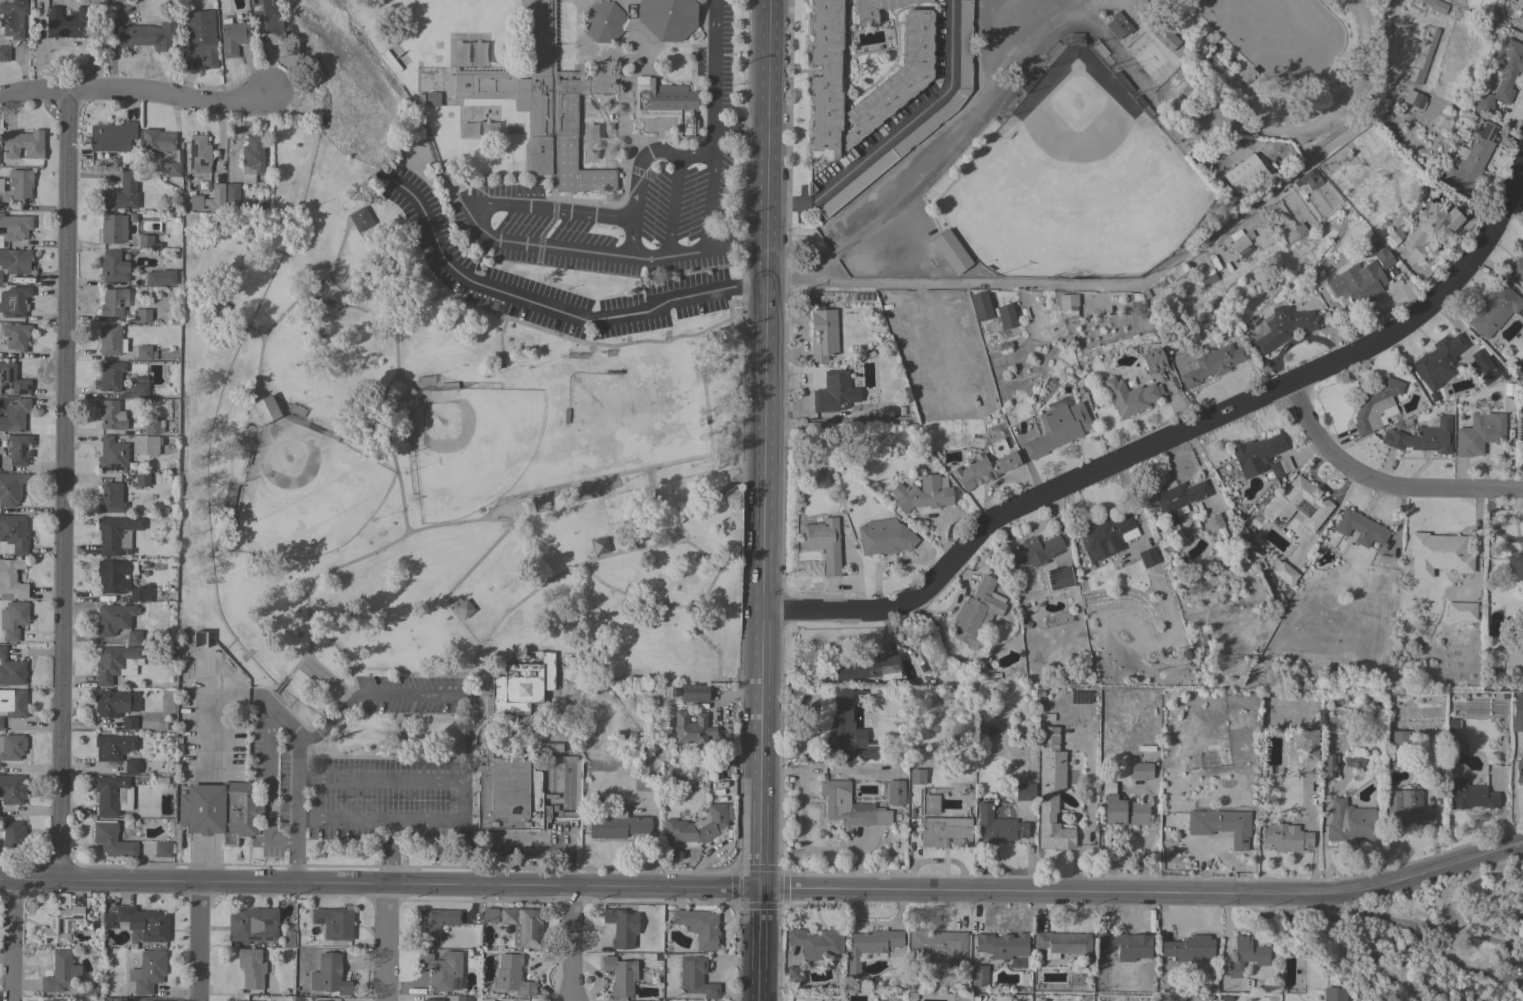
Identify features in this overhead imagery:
building: (1522, 0)
building: (1435, 5)
road: (1076, 13)
building: (866, 14)
building: (12, 19)
building: (639, 19)
building: (1522, 20)
building: (66, 23)
building: (265, 23)
building: (1118, 25)
building: (148, 36)
building: (201, 37)
building: (233, 38)
park: (1278, 38)
building: (1166, 39)
building: (1075, 40)
building: (4, 53)
building: (1425, 59)
road: (714, 63)
building: (1247, 74)
building: (1501, 77)
building: (825, 79)
building: (895, 79)
building: (1030, 80)
building: (1123, 82)
road: (134, 90)
building: (1192, 92)
building: (432, 99)
building: (1416, 100)
building: (545, 103)
building: (665, 104)
building: (949, 107)
road: (1236, 126)
road: (742, 127)
road: (897, 131)
building: (111, 136)
building: (157, 142)
building: (23, 144)
park: (1107, 144)
building: (197, 153)
building: (251, 158)
building: (1470, 159)
road: (939, 163)
building: (1340, 164)
building: (169, 169)
building: (1243, 173)
park: (1071, 176)
building: (1308, 179)
building: (20, 183)
building: (1, 185)
road: (709, 185)
building: (121, 194)
road: (1517, 195)
building: (216, 198)
building: (232, 198)
road: (481, 198)
building: (195, 201)
parking lot: (625, 202)
building: (359, 219)
building: (14, 227)
building: (113, 228)
building: (1429, 228)
building: (1390, 239)
building: (145, 241)
building: (1241, 242)
road: (737, 246)
building: (949, 252)
building: (15, 261)
building: (113, 267)
building: (1517, 268)
building: (1177, 272)
building: (1365, 276)
building: (0, 277)
building: (160, 278)
parking lot: (558, 278)
building: (1205, 278)
road: (429, 282)
road: (1099, 283)
building: (14, 301)
building: (113, 302)
road: (309, 304)
building: (1067, 305)
road: (351, 306)
road: (552, 310)
building: (991, 310)
building: (1494, 310)
building: (142, 316)
road: (727, 320)
building: (1283, 327)
road: (253, 332)
road: (262, 334)
building: (823, 334)
building: (16, 336)
building: (110, 340)
road: (660, 342)
road: (395, 347)
building: (145, 353)
building: (1152, 361)
building: (1438, 361)
building: (1212, 364)
building: (1485, 372)
building: (111, 376)
building: (12, 379)
building: (445, 386)
building: (135, 390)
building: (832, 392)
building: (1130, 396)
road: (396, 399)
building: (1375, 405)
building: (265, 409)
building: (15, 415)
building: (111, 415)
road: (378, 421)
building: (153, 427)
building: (408, 428)
building: (1057, 429)
building: (1484, 430)
building: (1520, 432)
building: (1422, 437)
road: (1170, 438)
park: (470, 444)
building: (151, 445)
building: (18, 449)
building: (111, 454)
building: (1255, 454)
park: (439, 459)
building: (1278, 468)
building: (981, 469)
building: (141, 479)
road: (1382, 482)
road: (63, 484)
building: (11, 488)
park: (304, 493)
building: (922, 493)
building: (583, 495)
building: (111, 498)
building: (1177, 499)
road: (766, 500)
building: (540, 502)
building: (1283, 502)
road: (487, 514)
building: (1215, 525)
road: (1491, 525)
building: (1360, 528)
building: (1103, 532)
building: (116, 534)
building: (13, 535)
building: (884, 537)
building: (822, 543)
building: (600, 545)
road: (655, 547)
road: (1475, 549)
building: (1033, 551)
building: (1438, 554)
building: (1147, 557)
building: (1515, 558)
building: (1284, 573)
road: (466, 574)
building: (111, 576)
building: (1058, 578)
building: (11, 580)
building: (140, 593)
building: (464, 608)
building: (1460, 611)
building: (975, 613)
building: (113, 618)
building: (12, 619)
road: (318, 631)
building: (134, 637)
road: (708, 645)
building: (110, 663)
building: (868, 668)
building: (11, 670)
road: (326, 670)
road: (291, 672)
building: (1381, 673)
building: (693, 693)
building: (1518, 697)
road: (374, 698)
building: (13, 703)
building: (115, 703)
road: (281, 715)
building: (1517, 716)
building: (1, 722)
building: (128, 723)
road: (311, 726)
building: (847, 729)
building: (692, 732)
building: (488, 736)
building: (1399, 737)
building: (1306, 743)
building: (11, 746)
building: (112, 747)
building: (548, 747)
building: (1353, 758)
building: (132, 766)
building: (1329, 766)
parking lot: (375, 769)
road: (269, 770)
road: (466, 771)
building: (1141, 771)
building: (1519, 771)
building: (916, 777)
road: (380, 781)
building: (12, 789)
building: (1024, 792)
building: (1051, 792)
building: (895, 793)
building: (112, 795)
building: (1470, 795)
building: (930, 804)
building: (849, 806)
road: (294, 807)
building: (219, 808)
building: (1122, 809)
building: (1405, 811)
road: (380, 819)
road: (1086, 821)
building: (1351, 823)
building: (1221, 825)
building: (617, 826)
building: (696, 826)
building: (996, 827)
road: (1313, 831)
building: (944, 832)
building: (13, 835)
building: (1286, 837)
building: (112, 840)
road: (282, 840)
building: (163, 849)
road: (389, 852)
road: (533, 852)
road: (765, 889)
building: (489, 915)
building: (333, 923)
building: (434, 923)
building: (139, 924)
building: (60, 925)
building: (252, 925)
building: (524, 926)
building: (621, 927)
building: (699, 927)
road: (1483, 937)
building: (288, 939)
road: (13, 940)
road: (199, 941)
road: (385, 943)
building: (816, 943)
road: (572, 944)
building: (1062, 944)
building: (1001, 945)
building: (1126, 945)
building: (869, 947)
building: (940, 947)
building: (1187, 948)
building: (1246, 956)
building: (251, 967)
building: (442, 970)
building: (149, 971)
building: (60, 972)
building: (328, 975)
building: (511, 975)
building: (620, 975)
building: (794, 975)
building: (979, 975)
building: (695, 977)
building: (90, 991)
building: (1333, 994)
building: (463, 998)
building: (114, 999)
building: (51, 1000)
building: (431, 1000)

